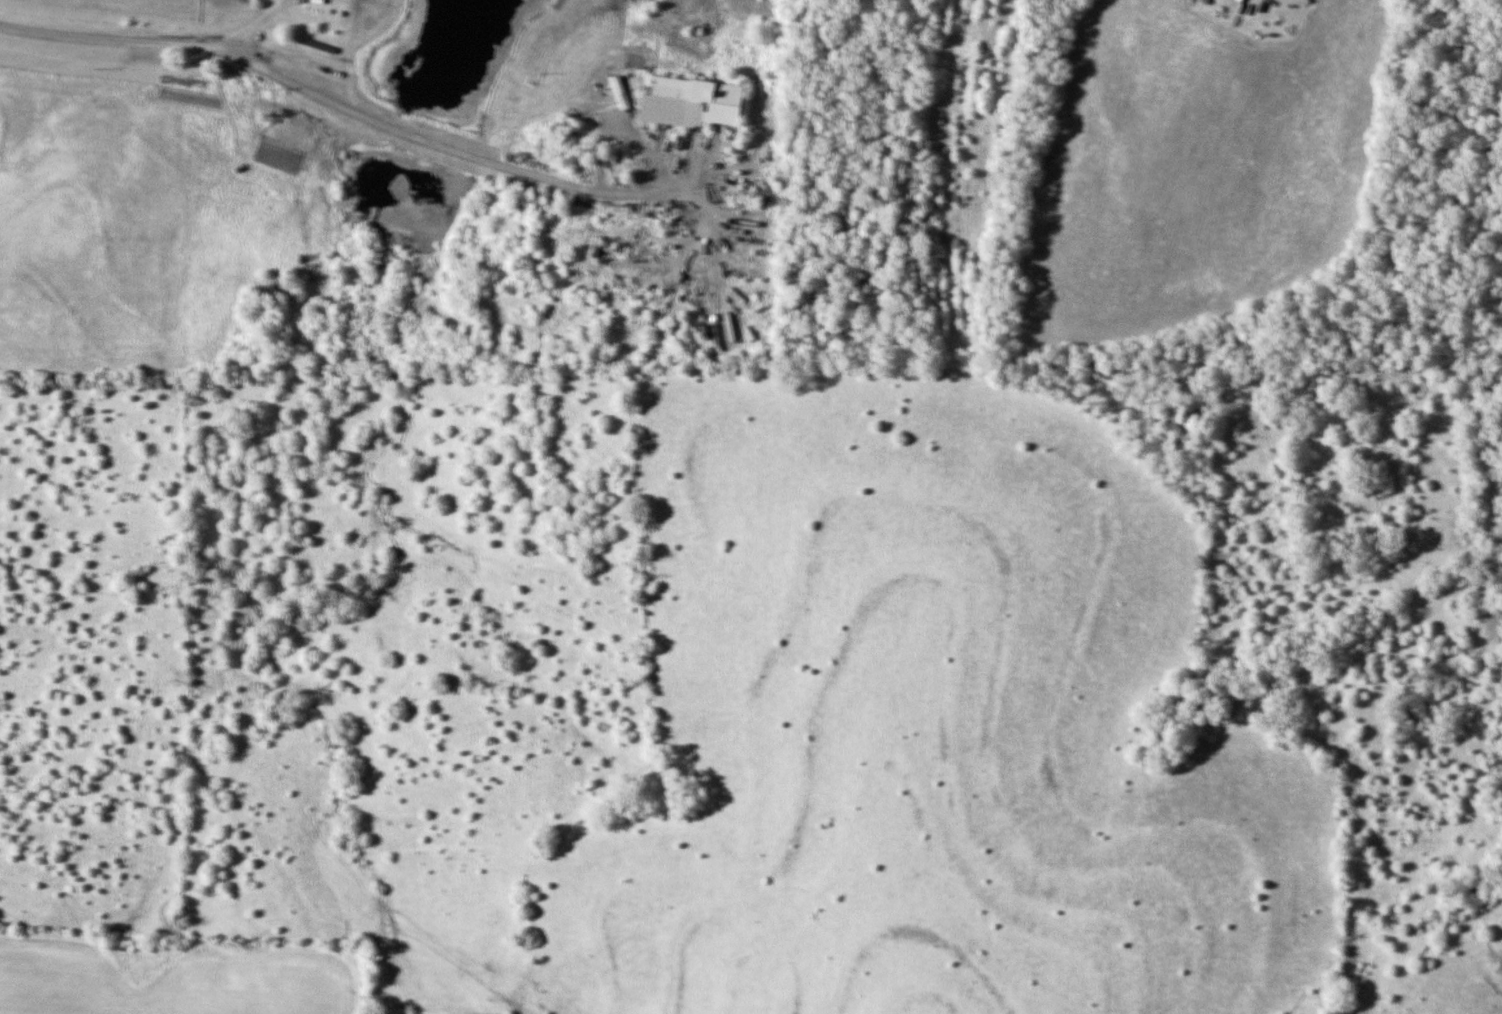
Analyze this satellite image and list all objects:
road: (144, 44)
building: (692, 104)
road: (435, 144)

